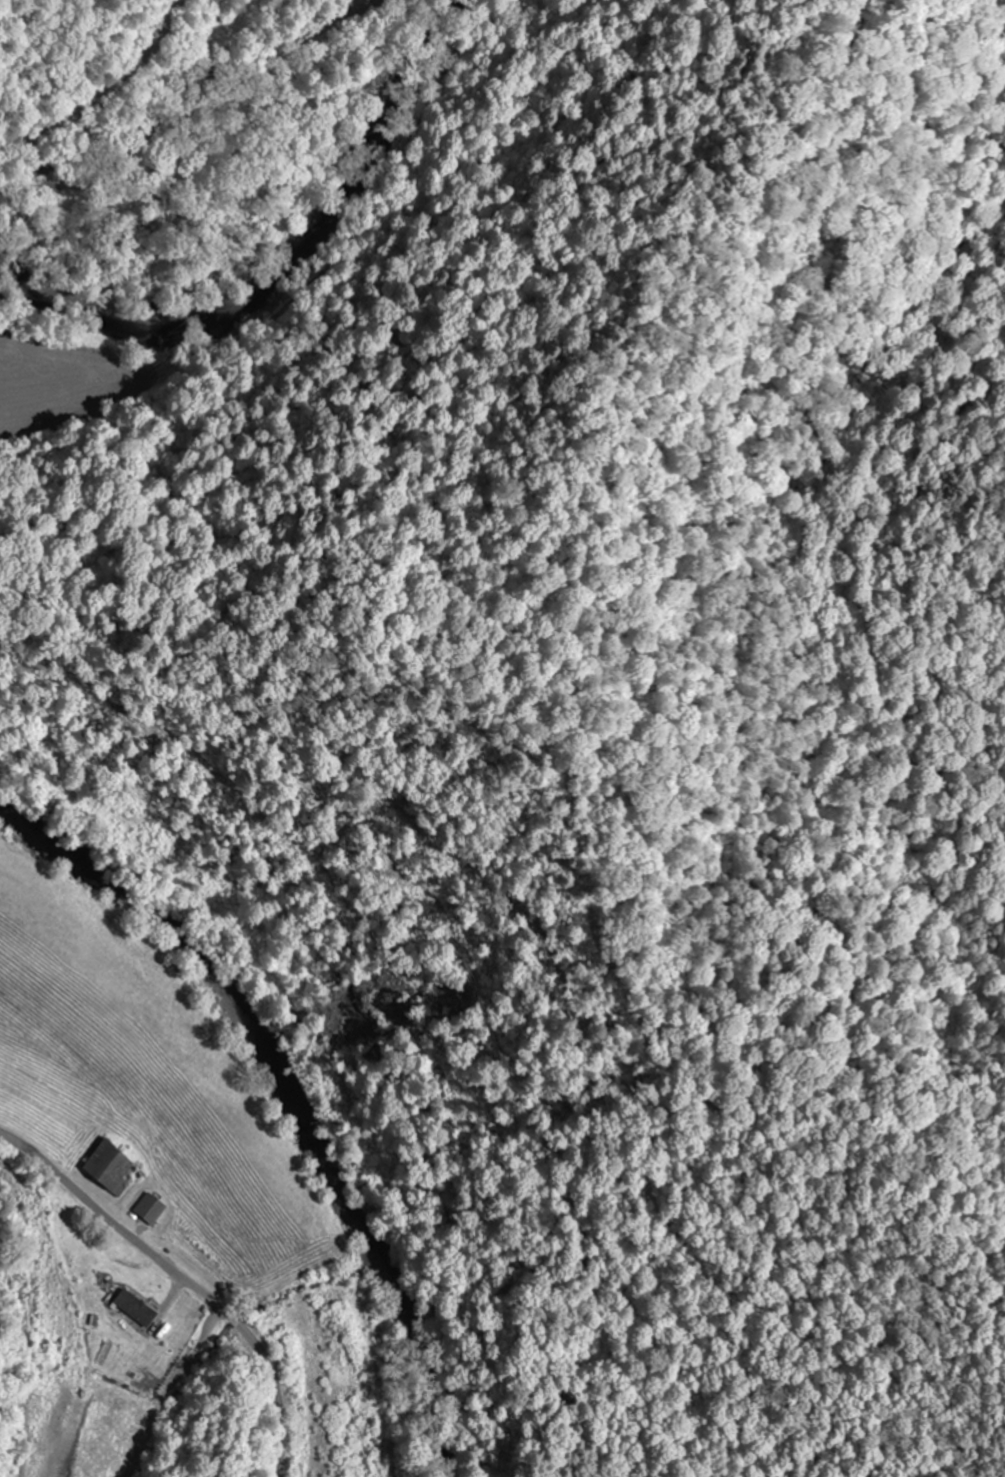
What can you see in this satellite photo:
road: (100, 87)
building: (110, 1163)
building: (151, 1207)
road: (184, 1278)
building: (138, 1306)
road: (215, 1320)

